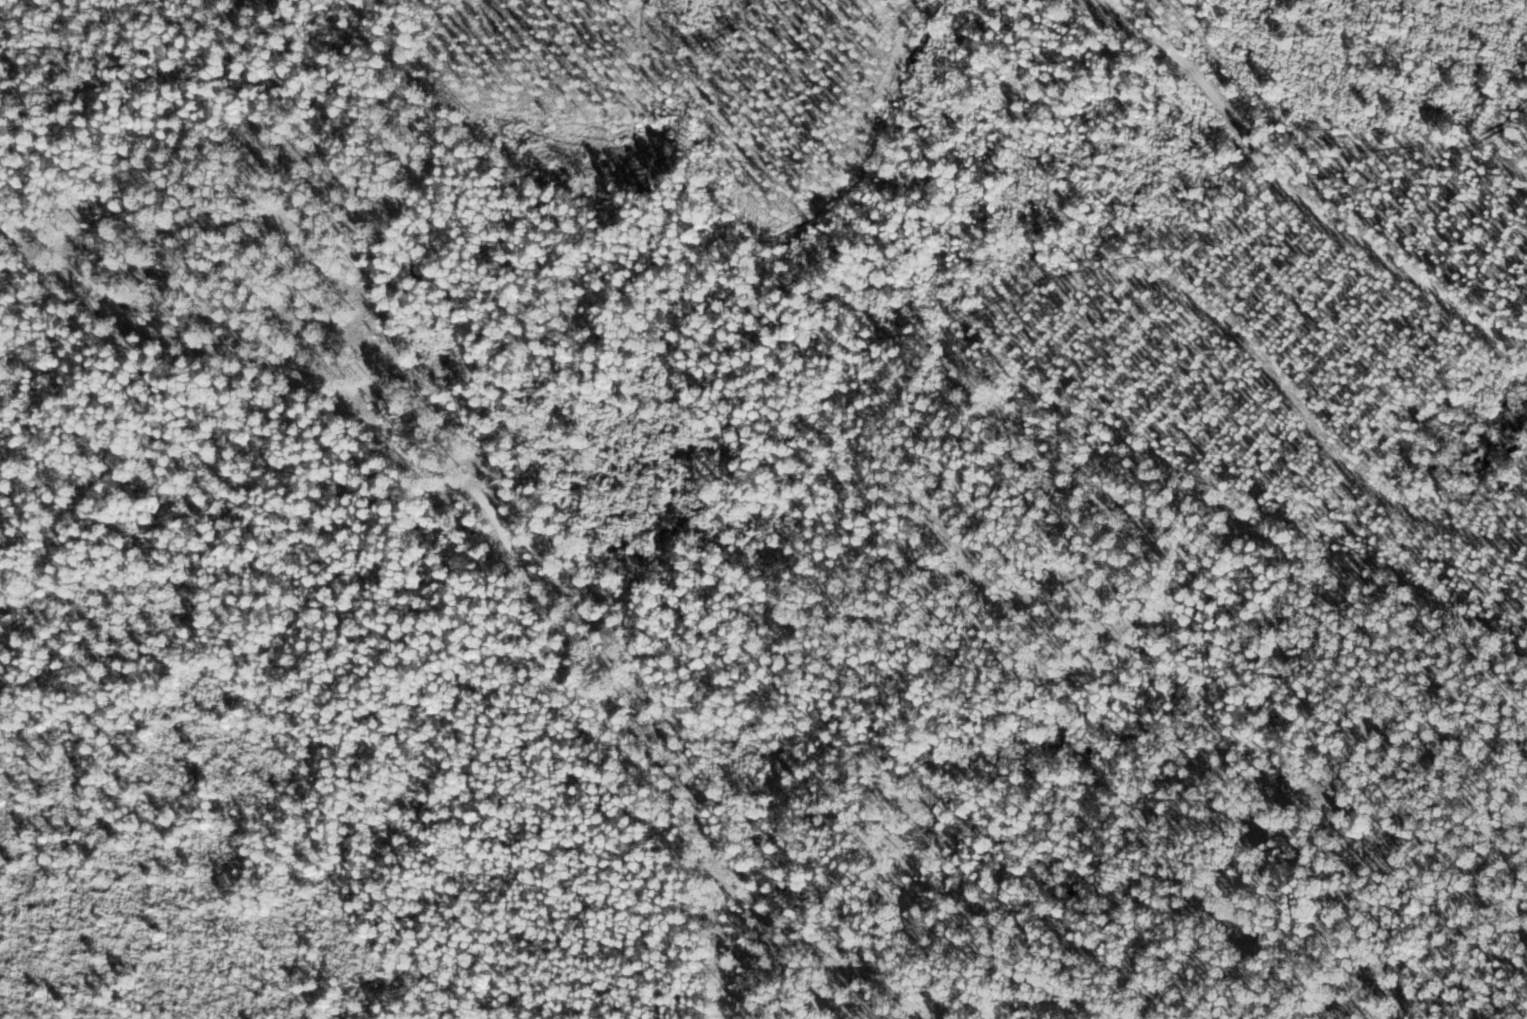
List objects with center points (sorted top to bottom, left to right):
road: (1337, 179)
road: (568, 568)
road: (1457, 733)

